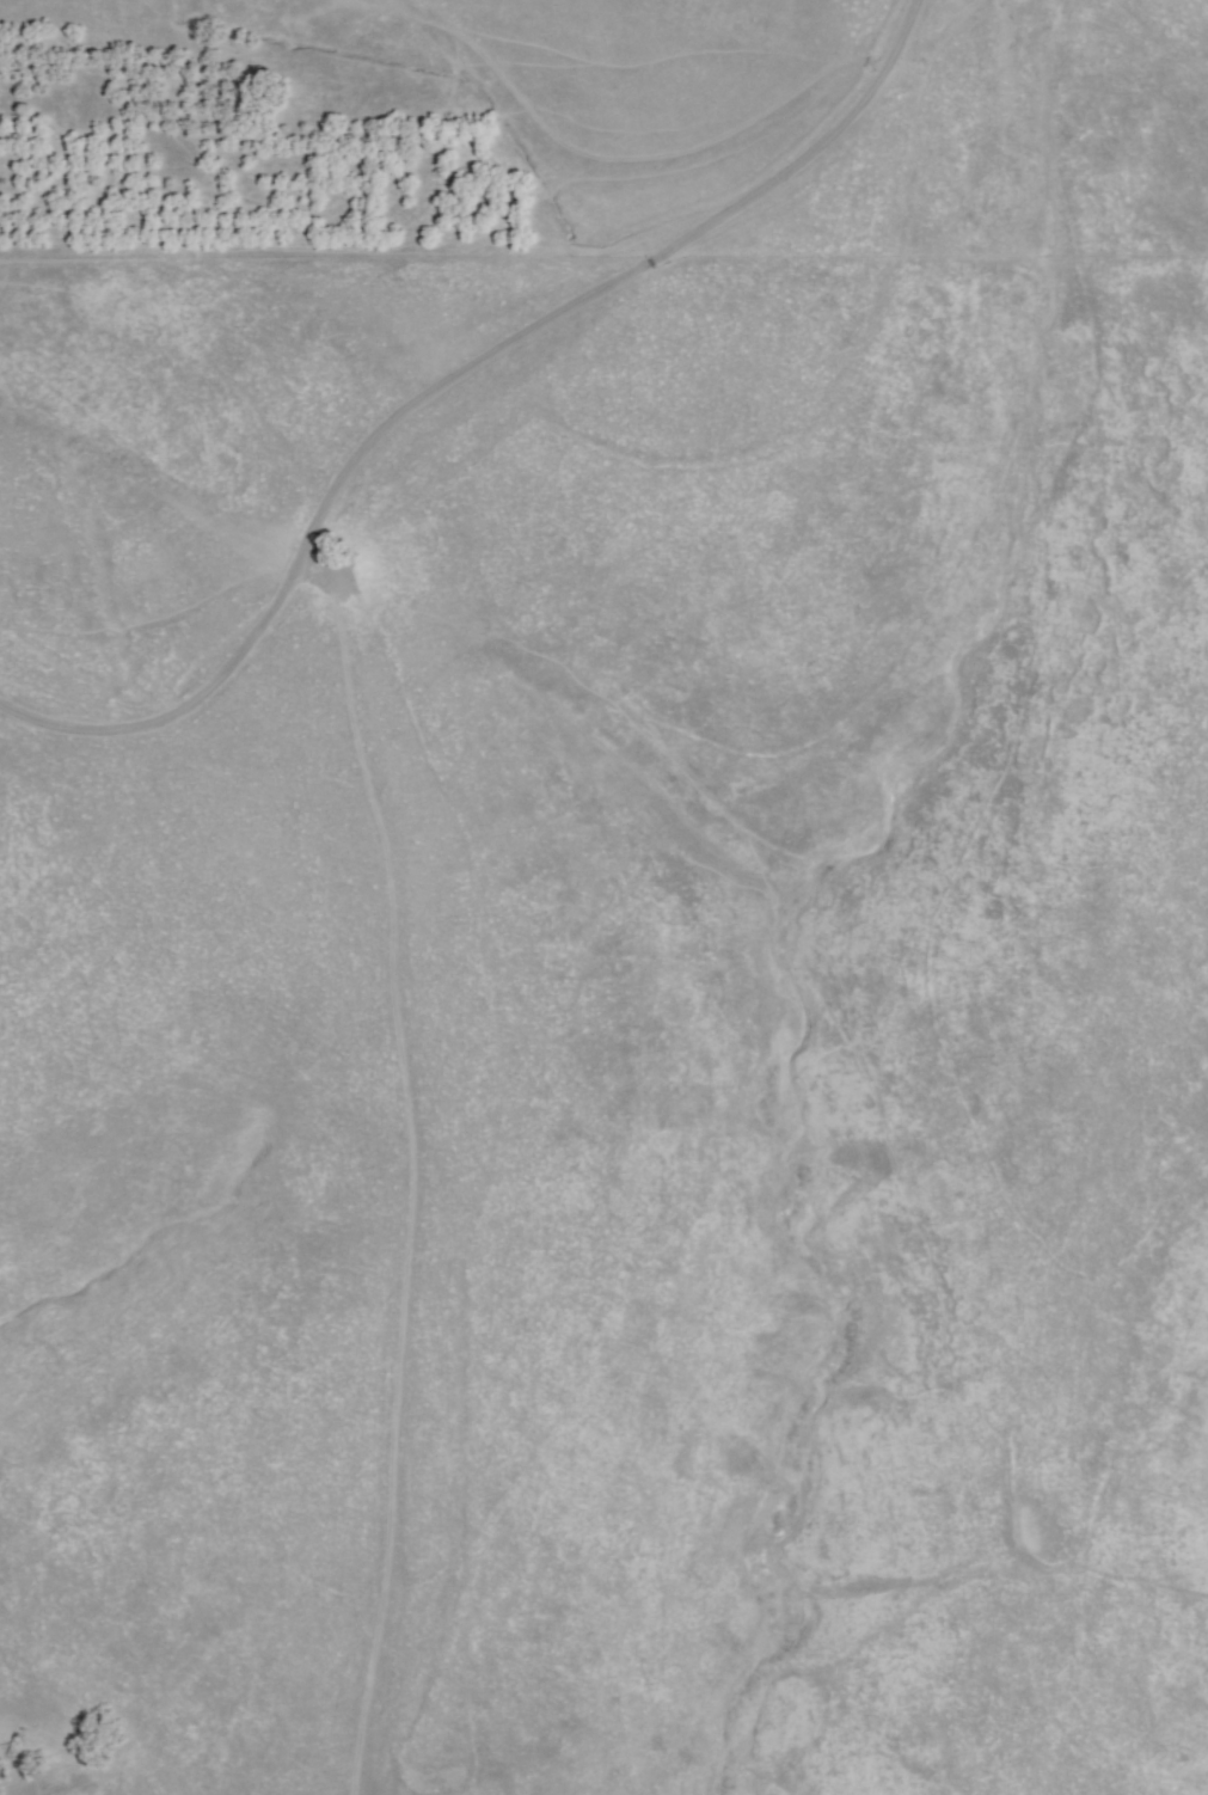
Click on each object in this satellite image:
road: (448, 384)

